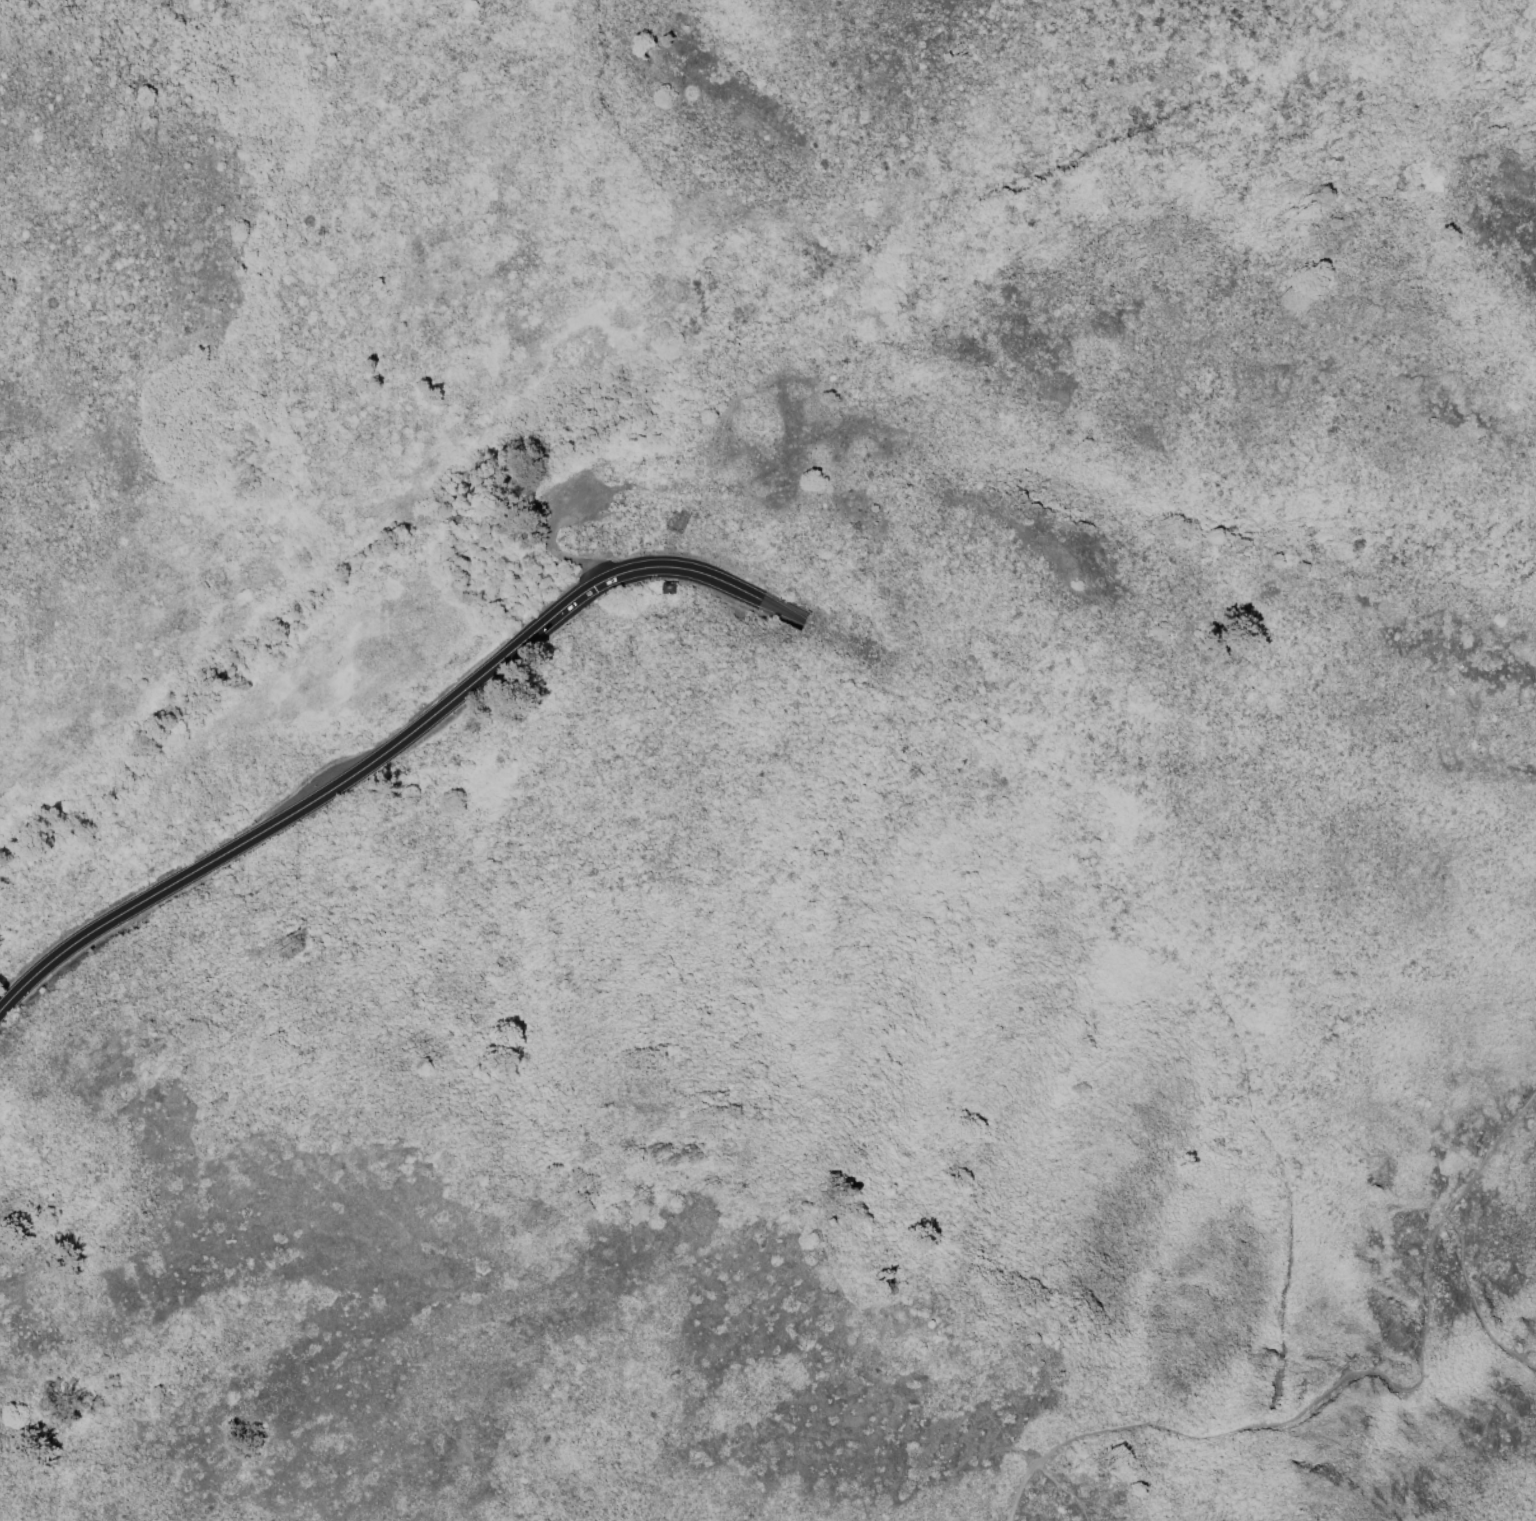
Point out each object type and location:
traffic signals: (595, 582)
road: (397, 747)
road: (1486, 1149)
road: (1471, 1301)
road: (1285, 1418)

